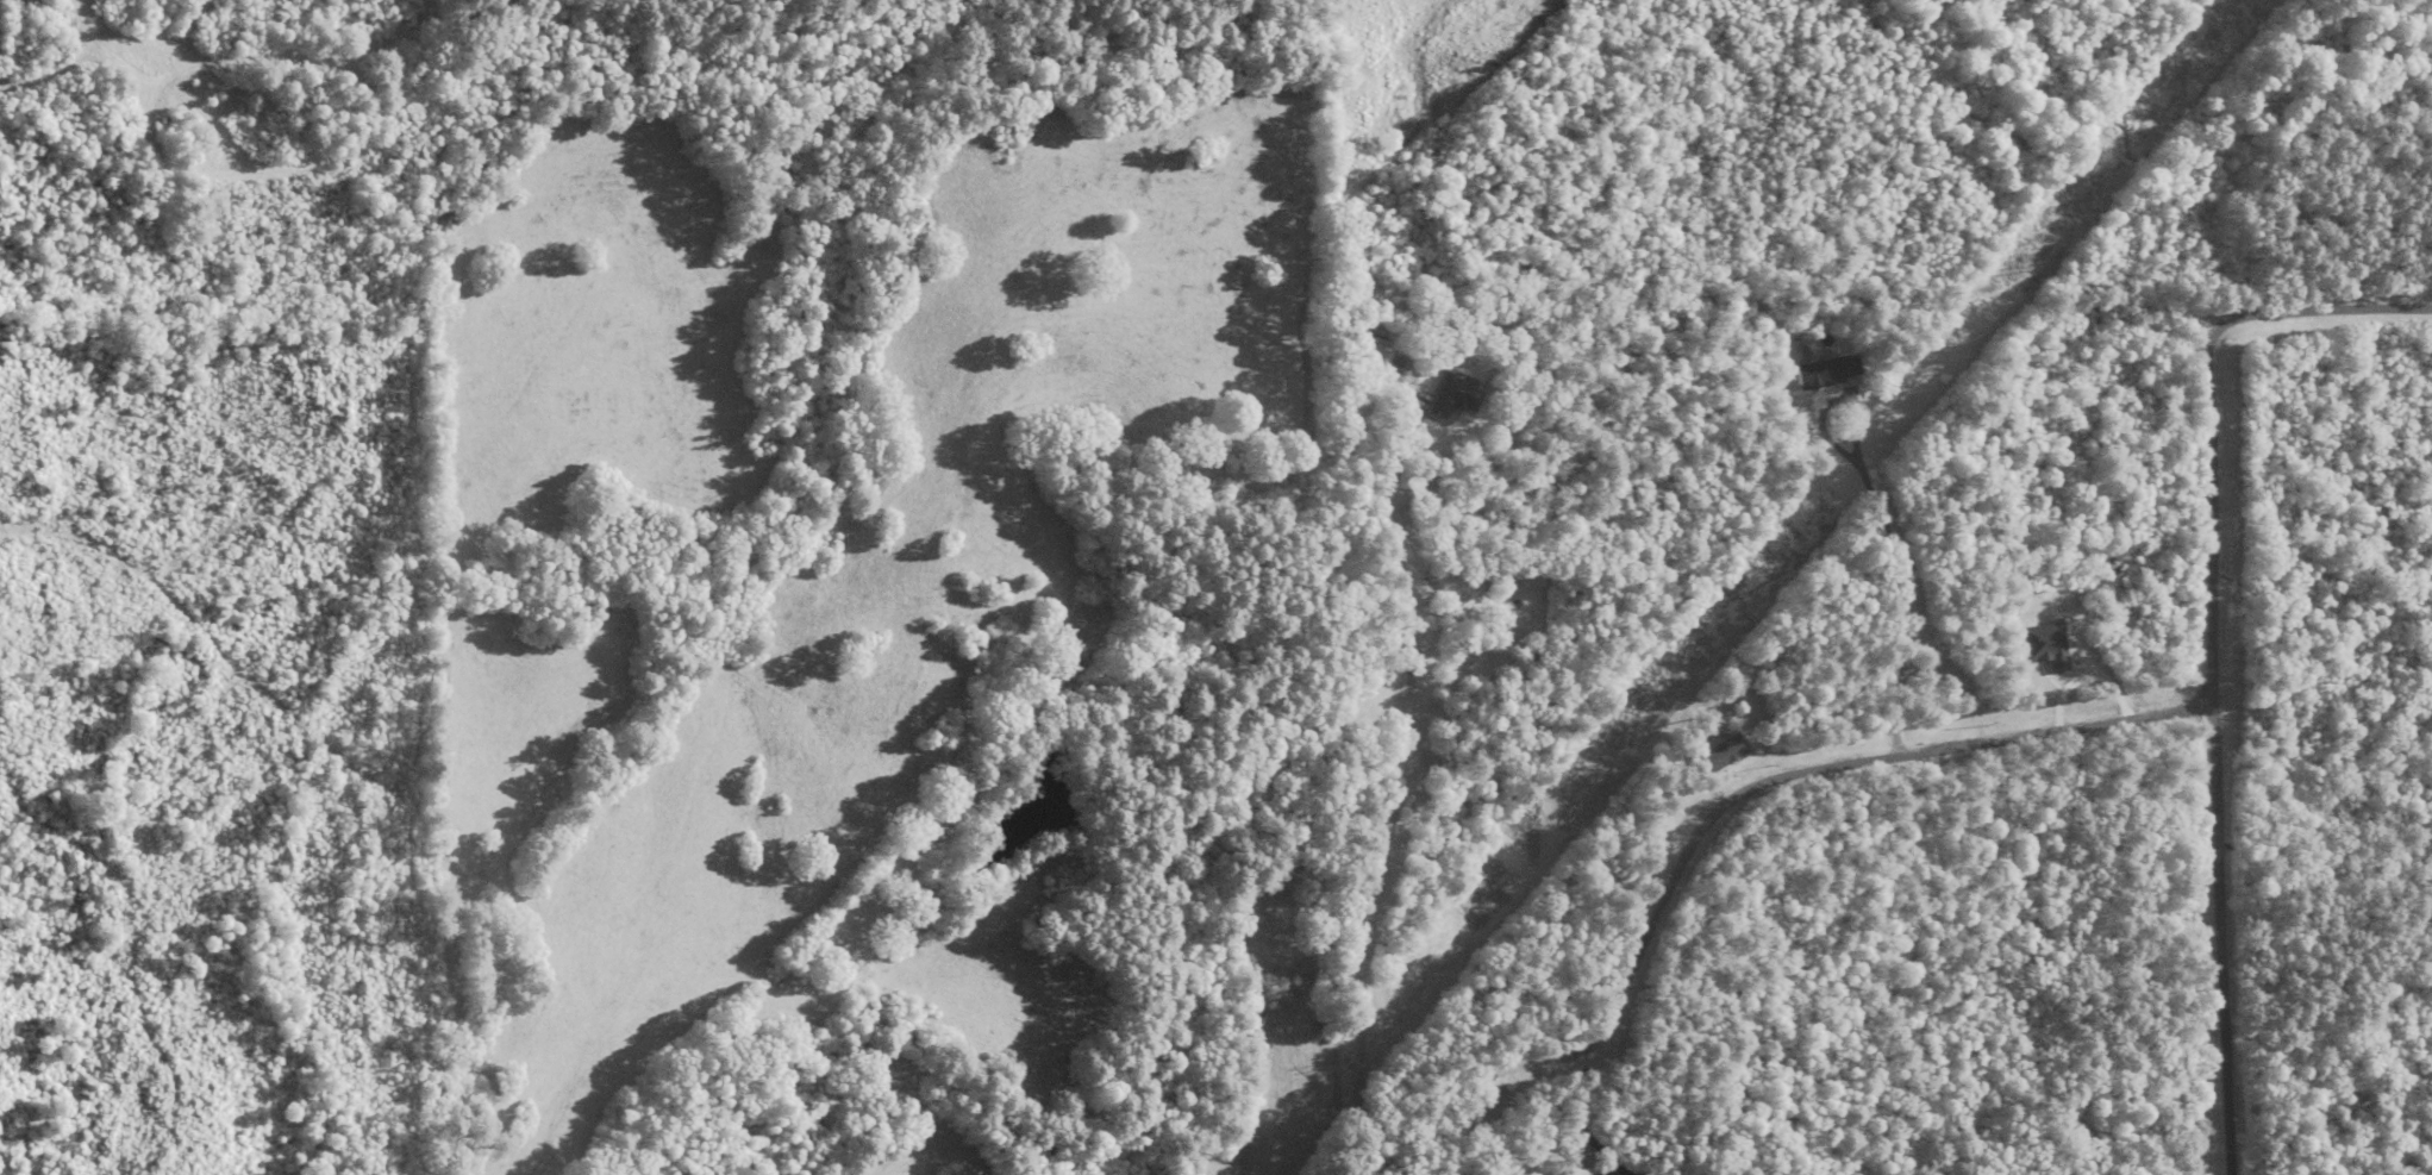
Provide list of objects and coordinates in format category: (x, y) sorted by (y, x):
building: (1380, 349)
building: (1828, 373)
building: (1457, 396)
road: (1918, 604)
road: (2215, 639)
building: (1726, 754)
road: (1811, 773)
road: (1358, 996)
building: (1492, 1108)

